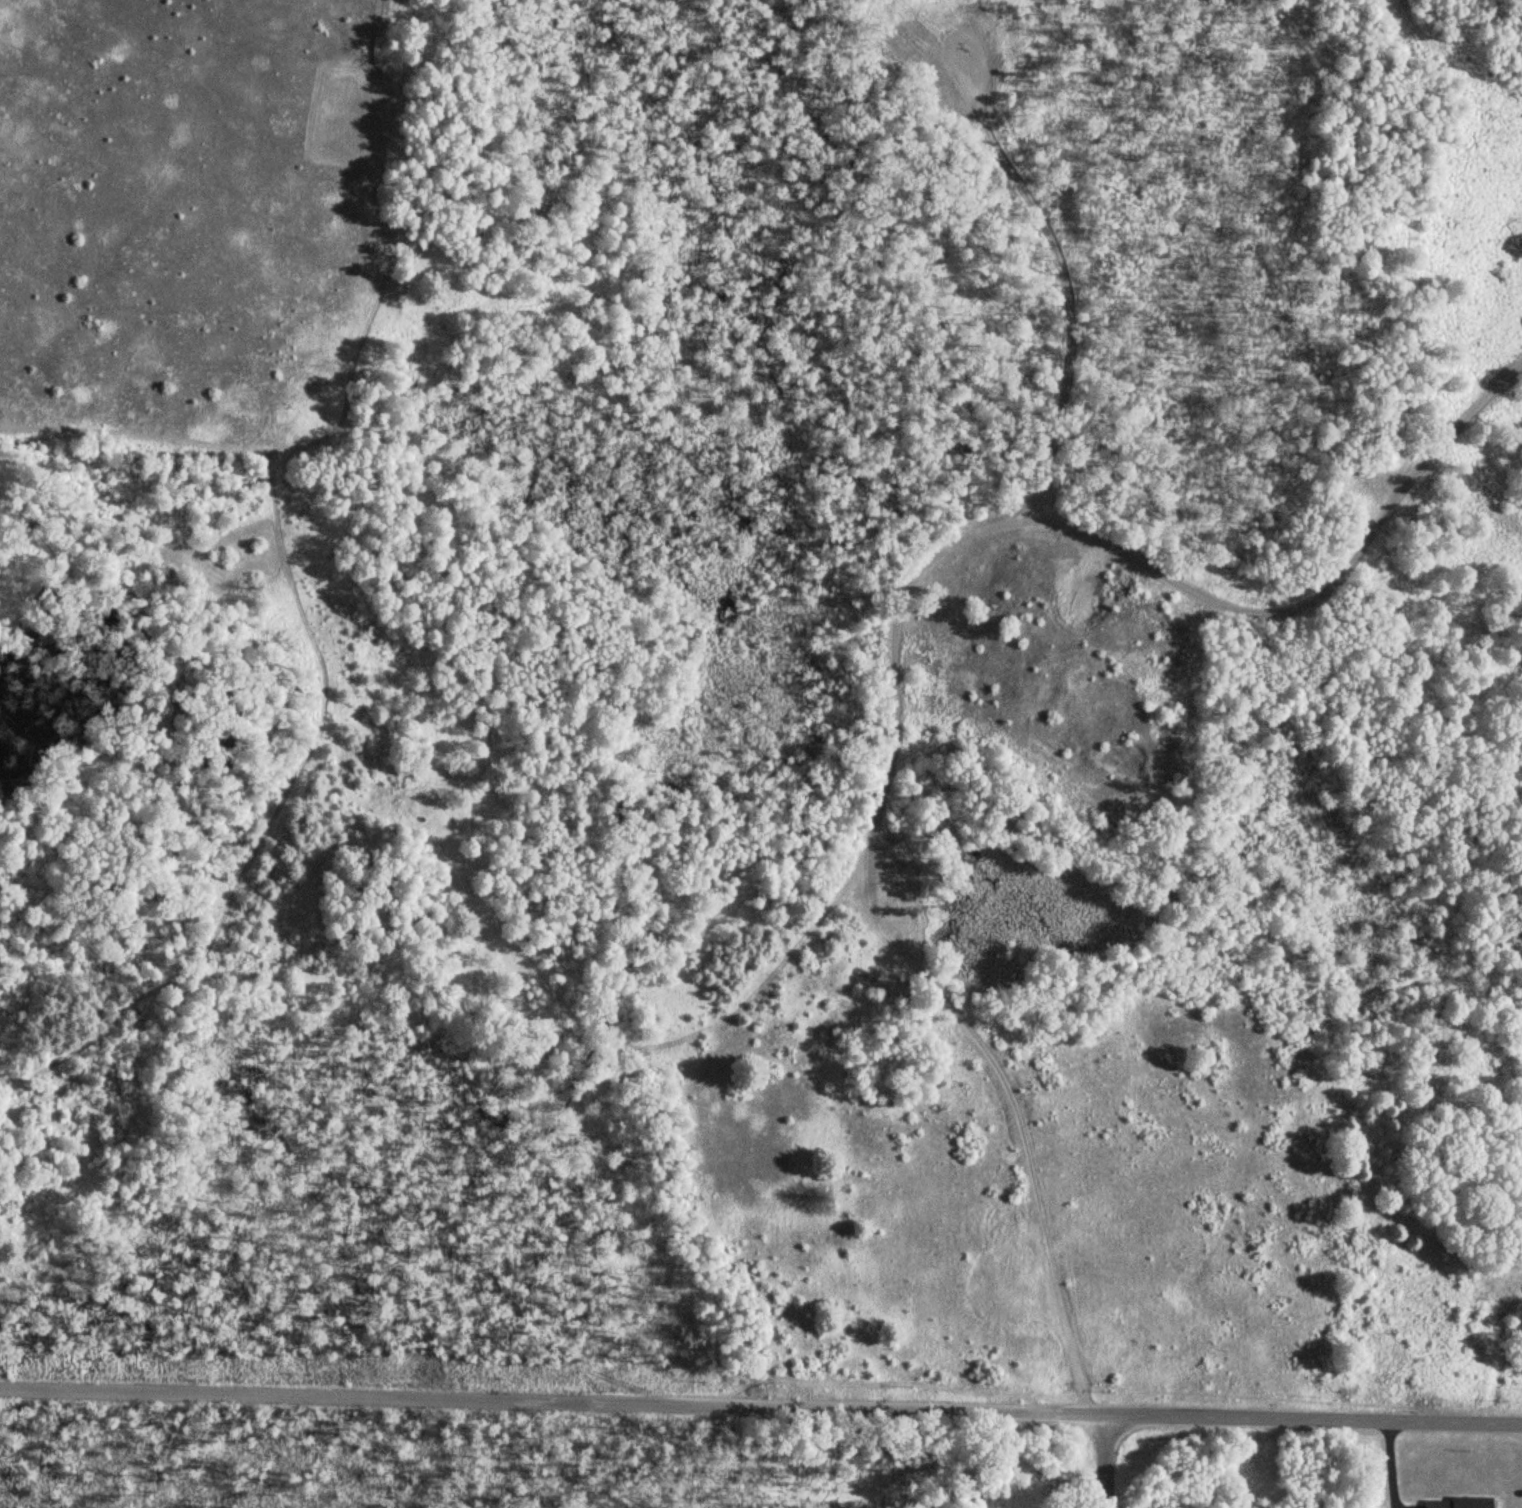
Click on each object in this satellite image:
road: (1035, 307)
road: (1445, 550)
road: (872, 628)
road: (761, 1402)
road: (1106, 1460)
building: (1452, 1503)

